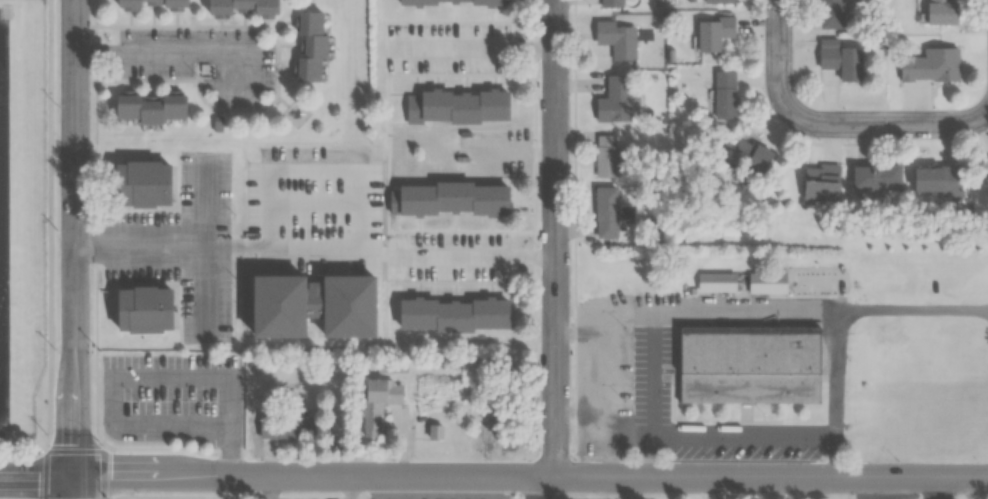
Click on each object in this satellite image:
building: (718, 1)
building: (450, 2)
building: (612, 3)
building: (148, 4)
building: (240, 8)
building: (936, 11)
building: (829, 13)
building: (713, 32)
building: (616, 39)
building: (309, 46)
parking lot: (449, 48)
road: (480, 48)
road: (171, 52)
building: (840, 60)
building: (930, 65)
building: (725, 95)
building: (615, 101)
street lamp: (57, 104)
building: (456, 107)
building: (148, 109)
road: (831, 129)
road: (516, 150)
building: (606, 156)
building: (748, 158)
building: (876, 178)
building: (141, 179)
building: (937, 179)
building: (986, 182)
building: (821, 183)
building: (447, 199)
road: (360, 203)
building: (606, 212)
street lamp: (58, 228)
track: (5, 234)
road: (141, 241)
parking lot: (184, 246)
road: (207, 247)
road: (75, 249)
road: (555, 250)
road: (454, 253)
parking lot: (448, 257)
building: (715, 281)
building: (767, 282)
building: (145, 306)
building: (451, 314)
street lamp: (625, 323)
street lamp: (57, 347)
building: (747, 363)
road: (144, 371)
street lamp: (138, 397)
street lamp: (626, 397)
street lamp: (204, 398)
parking lot: (174, 399)
building: (377, 402)
building: (283, 428)
street lamp: (47, 431)
street lamp: (823, 455)
street lamp: (739, 456)
road: (493, 474)
traffic signals: (77, 476)
road: (939, 487)

